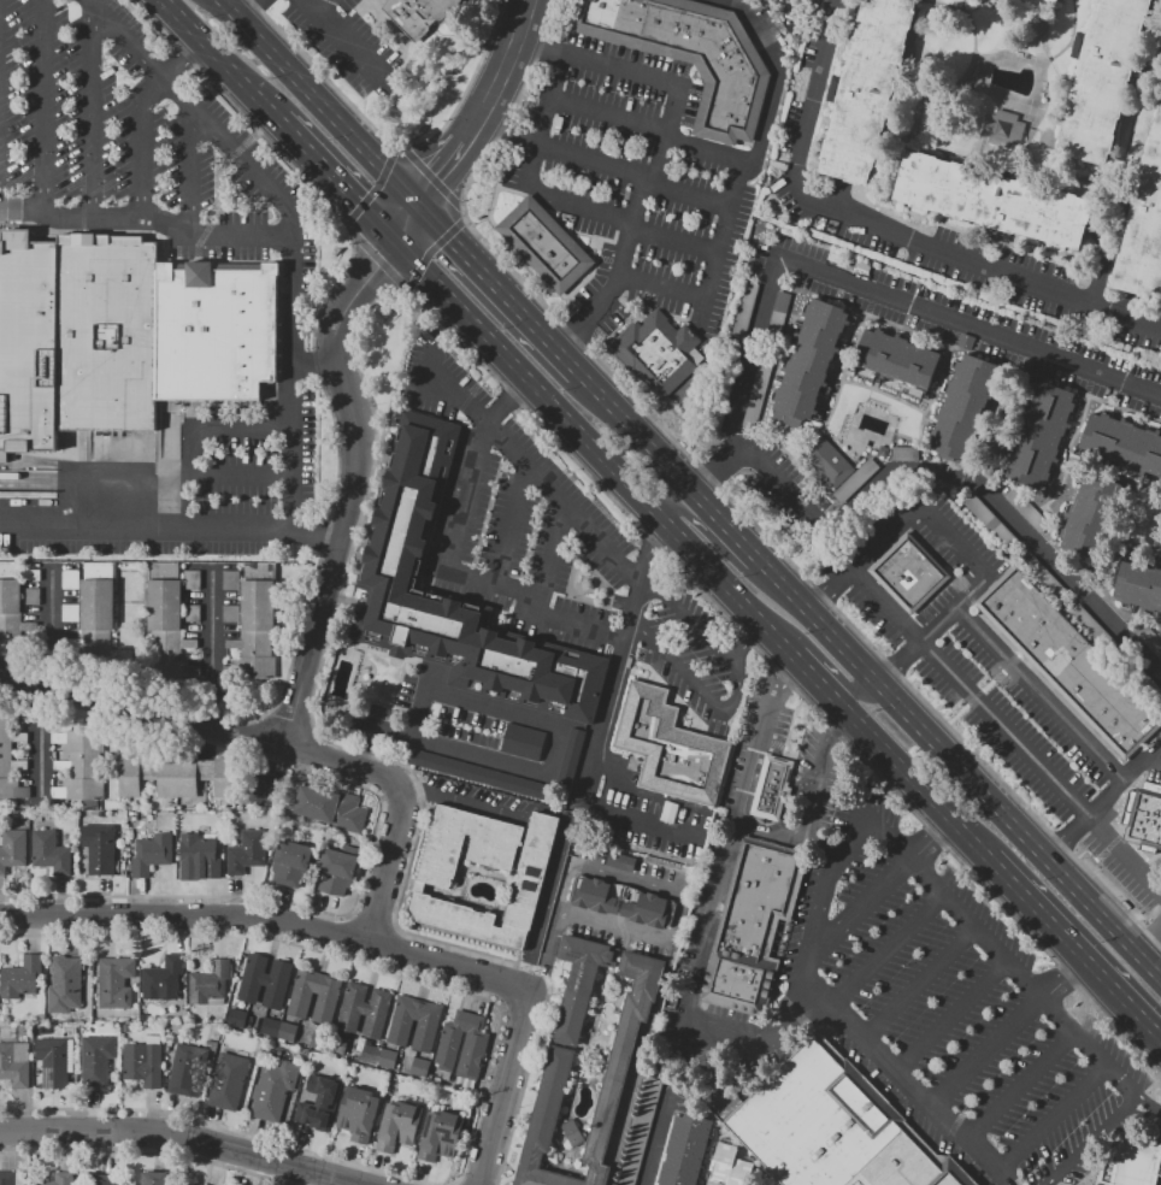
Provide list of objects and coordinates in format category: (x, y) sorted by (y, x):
road: (955, 1)
building: (1048, 2)
road: (322, 6)
road: (248, 10)
building: (418, 16)
road: (337, 36)
road: (1074, 45)
parking lot: (347, 46)
road: (214, 52)
building: (690, 55)
road: (188, 65)
power tower: (416, 70)
road: (502, 71)
road: (1159, 76)
building: (1103, 79)
building: (866, 89)
road: (318, 100)
road: (1001, 100)
road: (48, 107)
road: (930, 107)
road: (95, 113)
power tower: (408, 114)
road: (1036, 125)
road: (649, 126)
building: (1002, 129)
parking lot: (135, 137)
road: (142, 140)
road: (656, 147)
road: (441, 169)
road: (188, 172)
road: (328, 173)
road: (1119, 181)
parking lot: (643, 189)
traffic signals: (419, 201)
building: (994, 201)
road: (572, 202)
road: (720, 202)
road: (406, 222)
road: (291, 225)
building: (1144, 231)
road: (885, 232)
traffic signals: (394, 242)
building: (544, 244)
road: (499, 287)
road: (683, 290)
building: (778, 313)
building: (741, 319)
building: (157, 331)
road: (290, 332)
building: (30, 342)
building: (656, 353)
building: (896, 358)
building: (808, 362)
building: (756, 396)
road: (508, 403)
building: (961, 406)
road: (287, 425)
road: (638, 430)
road: (730, 430)
building: (1041, 436)
building: (1124, 442)
building: (904, 453)
building: (830, 462)
road: (720, 468)
road: (529, 470)
road: (624, 476)
road: (238, 477)
parking lot: (231, 479)
building: (855, 479)
road: (352, 488)
building: (407, 506)
building: (1026, 509)
building: (1086, 515)
building: (985, 518)
road: (512, 526)
road: (95, 530)
road: (312, 541)
road: (953, 542)
road: (454, 543)
road: (723, 550)
building: (909, 573)
building: (70, 579)
building: (190, 579)
building: (229, 579)
building: (1138, 585)
road: (830, 589)
building: (10, 602)
road: (536, 605)
road: (886, 607)
building: (96, 609)
building: (164, 620)
road: (48, 627)
building: (257, 632)
road: (747, 639)
road: (210, 648)
road: (824, 661)
road: (902, 662)
building: (1069, 662)
road: (739, 691)
road: (1041, 696)
road: (141, 709)
road: (603, 719)
road: (929, 730)
road: (39, 737)
building: (523, 742)
building: (668, 747)
building: (10, 754)
building: (570, 757)
road: (555, 765)
building: (78, 766)
road: (1042, 767)
building: (472, 772)
building: (173, 777)
building: (772, 788)
road: (919, 788)
road: (407, 800)
road: (1107, 801)
road: (465, 802)
building: (331, 807)
road: (808, 808)
building: (1145, 821)
road: (1068, 836)
road: (847, 843)
building: (99, 848)
building: (12, 849)
building: (51, 853)
building: (246, 853)
building: (152, 854)
building: (200, 854)
building: (619, 861)
building: (290, 863)
building: (336, 871)
building: (435, 879)
road: (880, 890)
road: (685, 895)
building: (621, 901)
road: (718, 903)
road: (1048, 916)
road: (271, 919)
building: (752, 927)
road: (890, 949)
road: (548, 954)
road: (1159, 957)
building: (19, 978)
building: (163, 980)
building: (116, 981)
building: (264, 981)
road: (921, 983)
building: (64, 984)
building: (208, 984)
parking lot: (945, 1002)
road: (1133, 1003)
building: (324, 1004)
building: (363, 1010)
road: (954, 1016)
building: (235, 1018)
building: (414, 1022)
building: (277, 1028)
road: (1008, 1030)
building: (461, 1045)
building: (377, 1056)
building: (560, 1059)
building: (96, 1060)
building: (53, 1062)
building: (145, 1062)
building: (14, 1065)
road: (644, 1065)
building: (418, 1067)
building: (185, 1069)
building: (229, 1081)
road: (505, 1087)
road: (1020, 1087)
building: (273, 1090)
building: (318, 1102)
road: (1150, 1102)
building: (358, 1113)
road: (1050, 1121)
building: (399, 1126)
building: (827, 1127)
building: (638, 1132)
building: (440, 1136)
road: (178, 1137)
road: (653, 1138)
road: (1092, 1140)
building: (684, 1152)
building: (1132, 1165)
building: (727, 1167)
building: (7, 1178)
building: (61, 1178)
building: (154, 1178)
building: (102, 1179)
building: (194, 1183)

